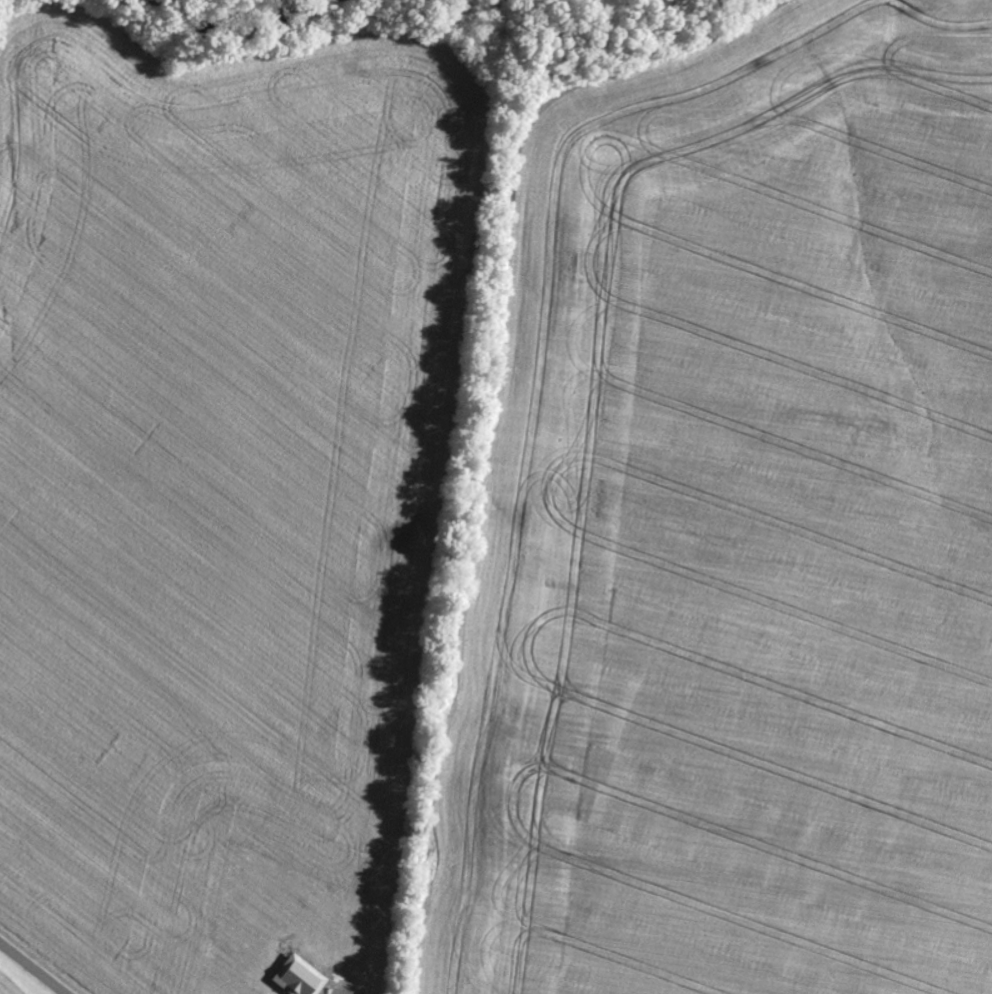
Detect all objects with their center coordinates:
road: (31, 969)
building: (301, 975)

